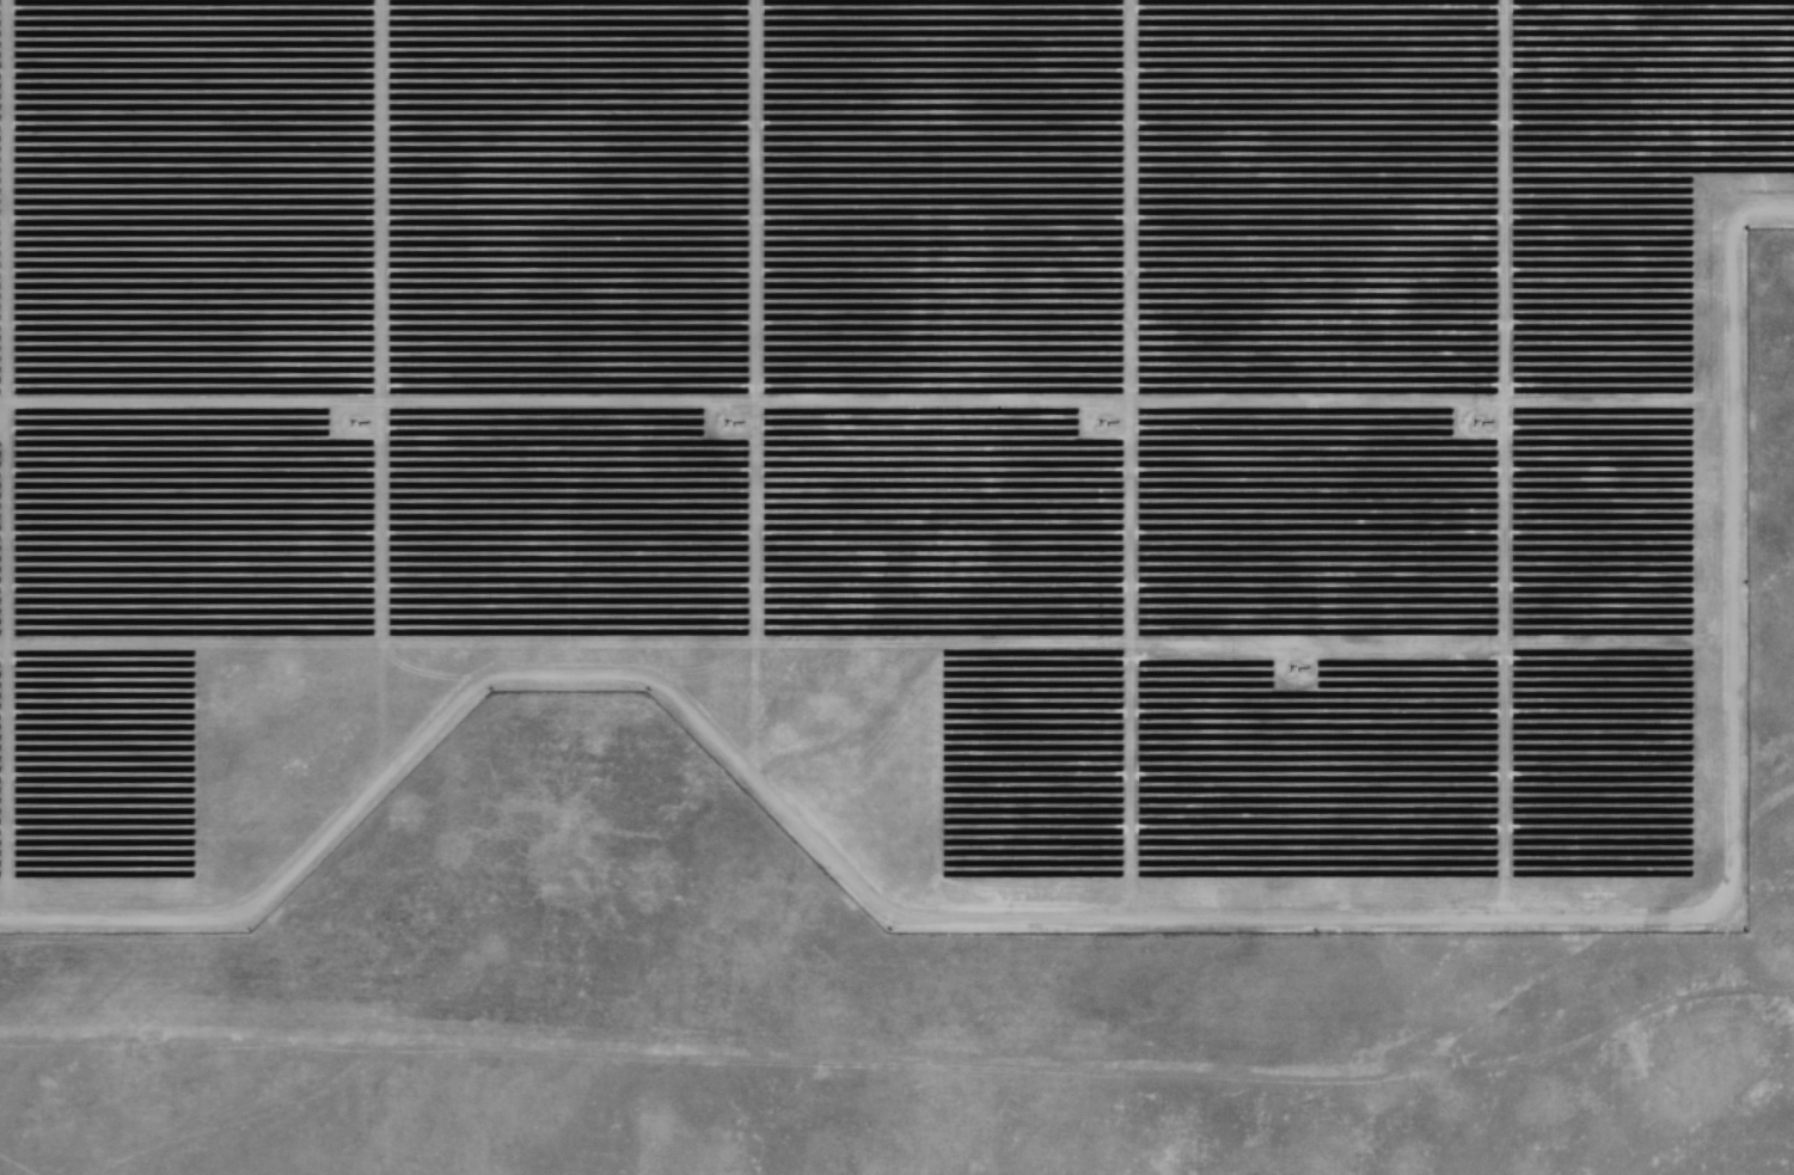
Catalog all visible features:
solar farm: (906, 562)

